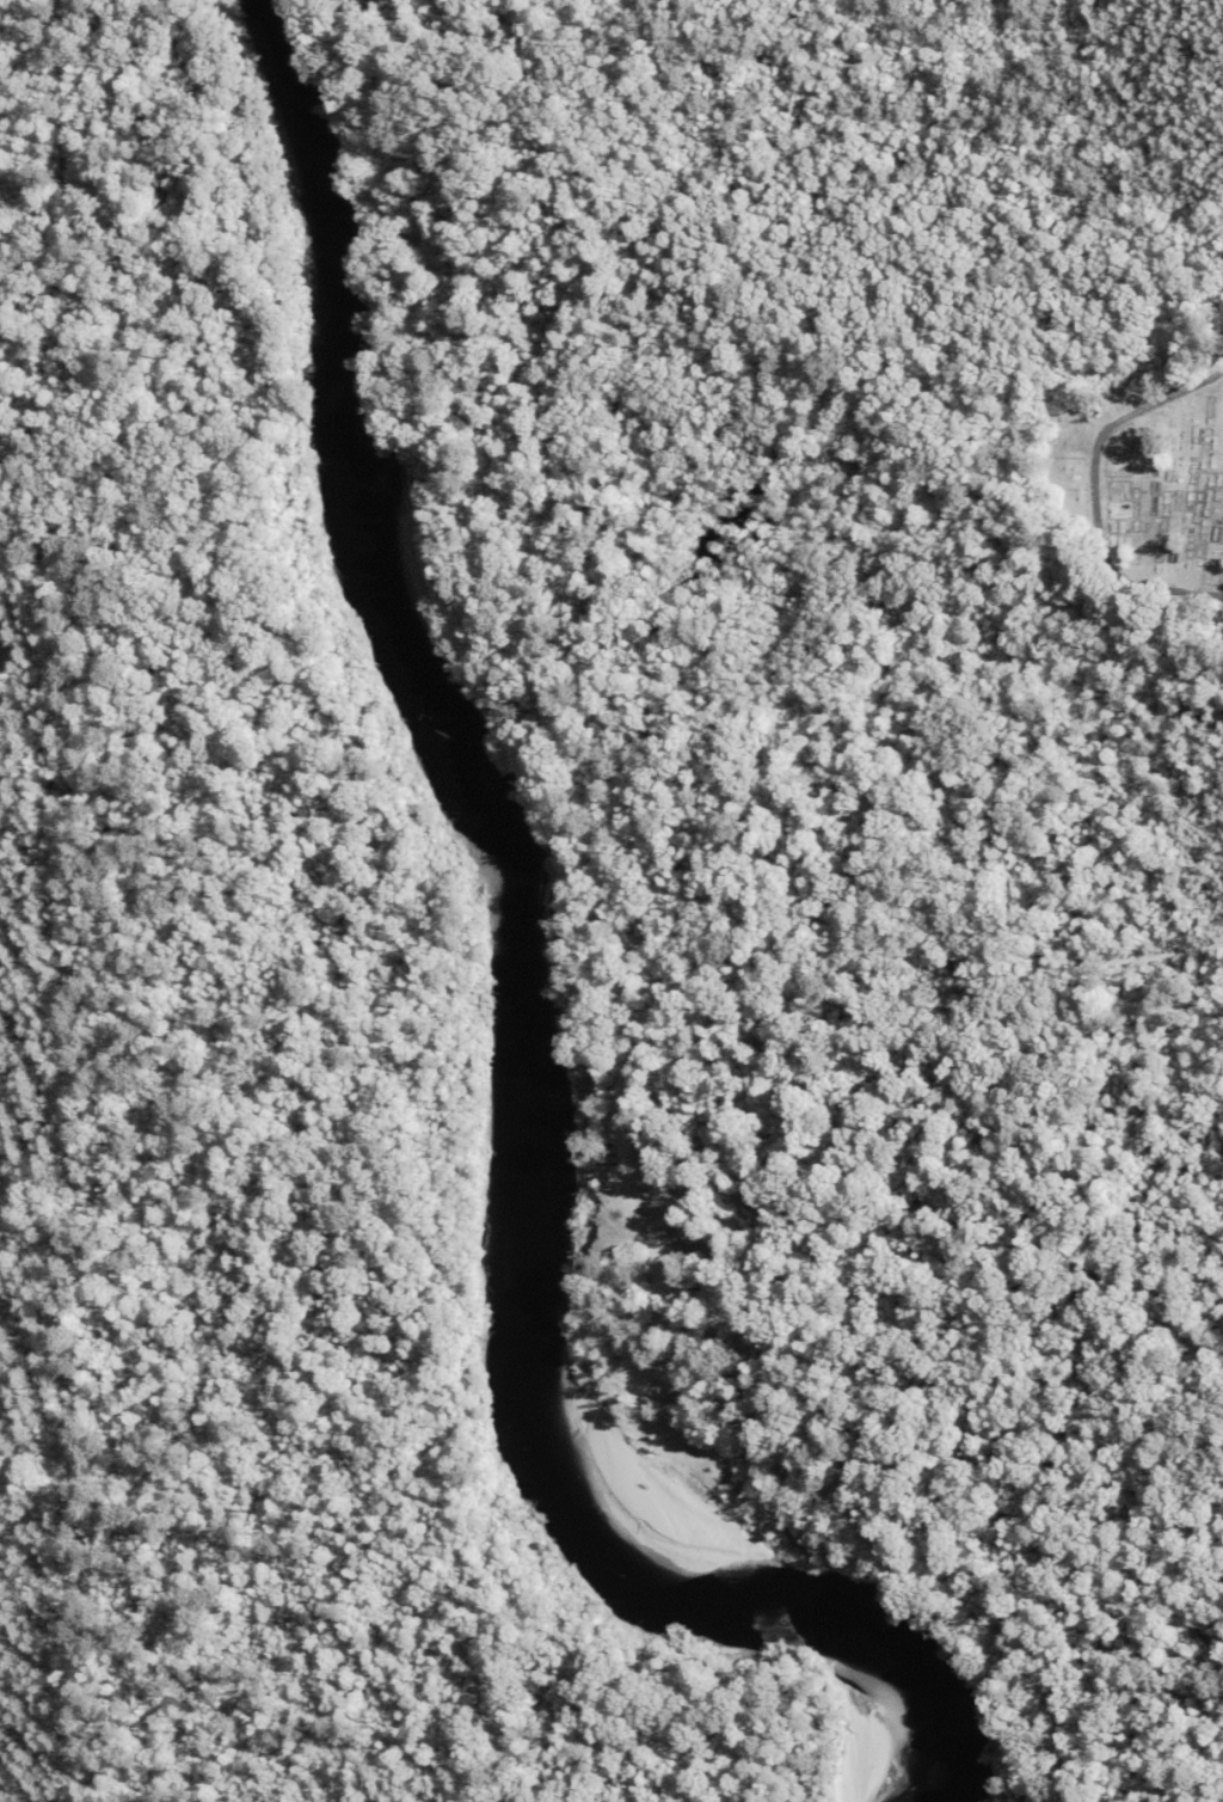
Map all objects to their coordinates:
river: (522, 1006)
road: (631, 1210)

